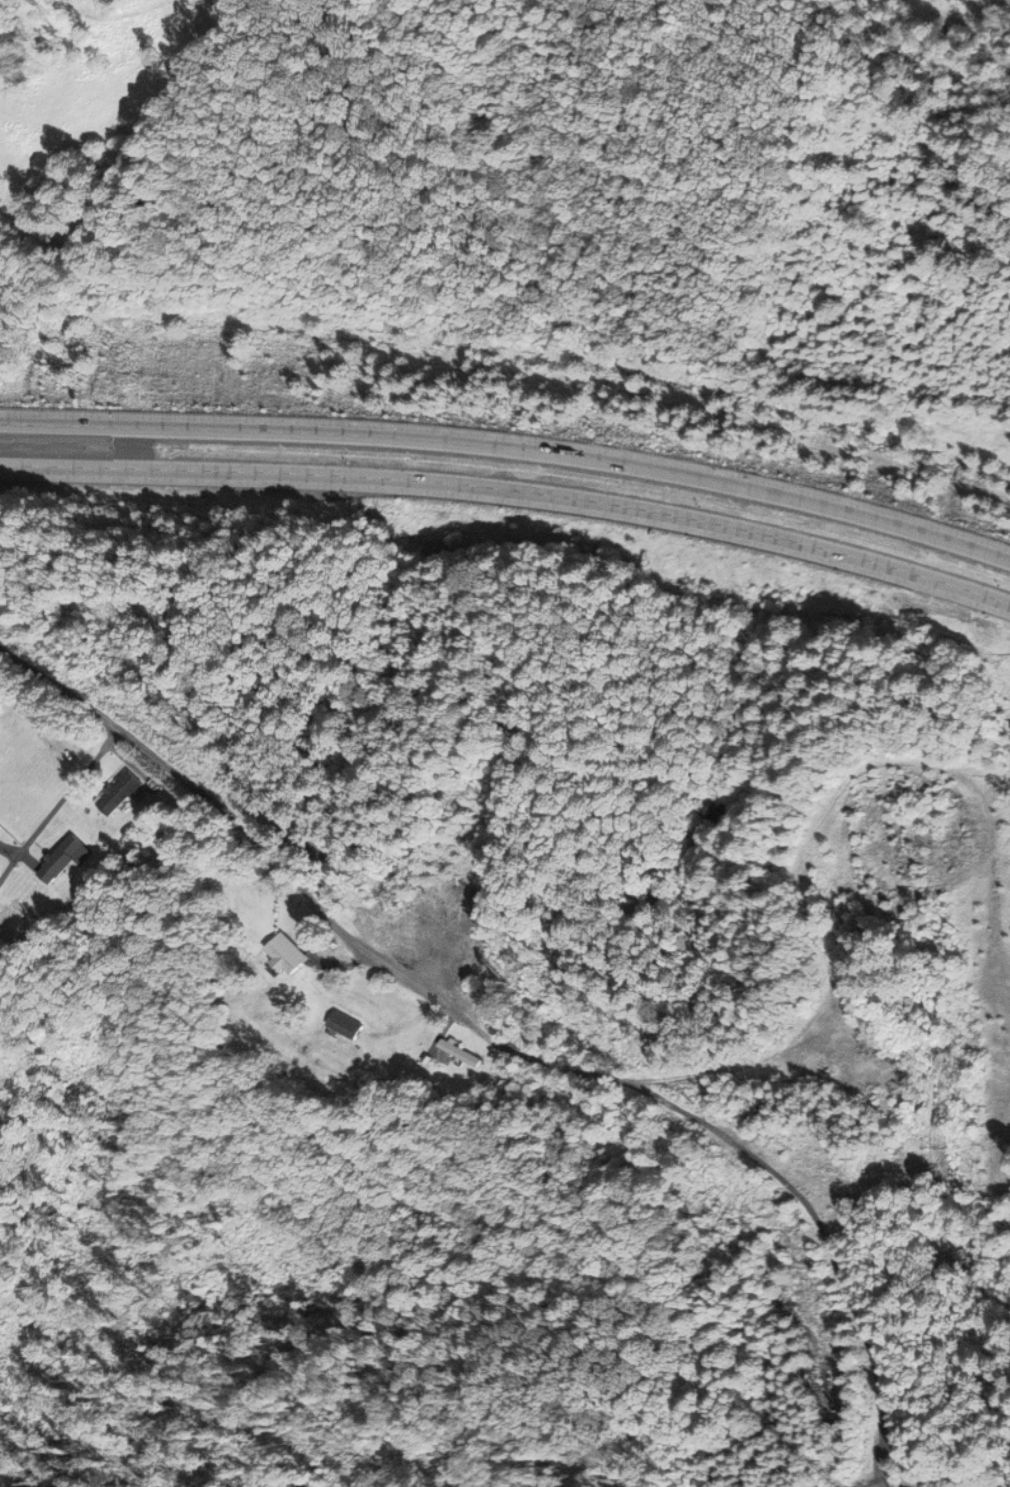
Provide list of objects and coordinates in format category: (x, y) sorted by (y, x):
road: (511, 453)
road: (510, 498)
building: (122, 794)
building: (66, 859)
building: (67, 906)
building: (21, 922)
building: (287, 954)
building: (345, 1024)
road: (504, 1043)
building: (460, 1052)

